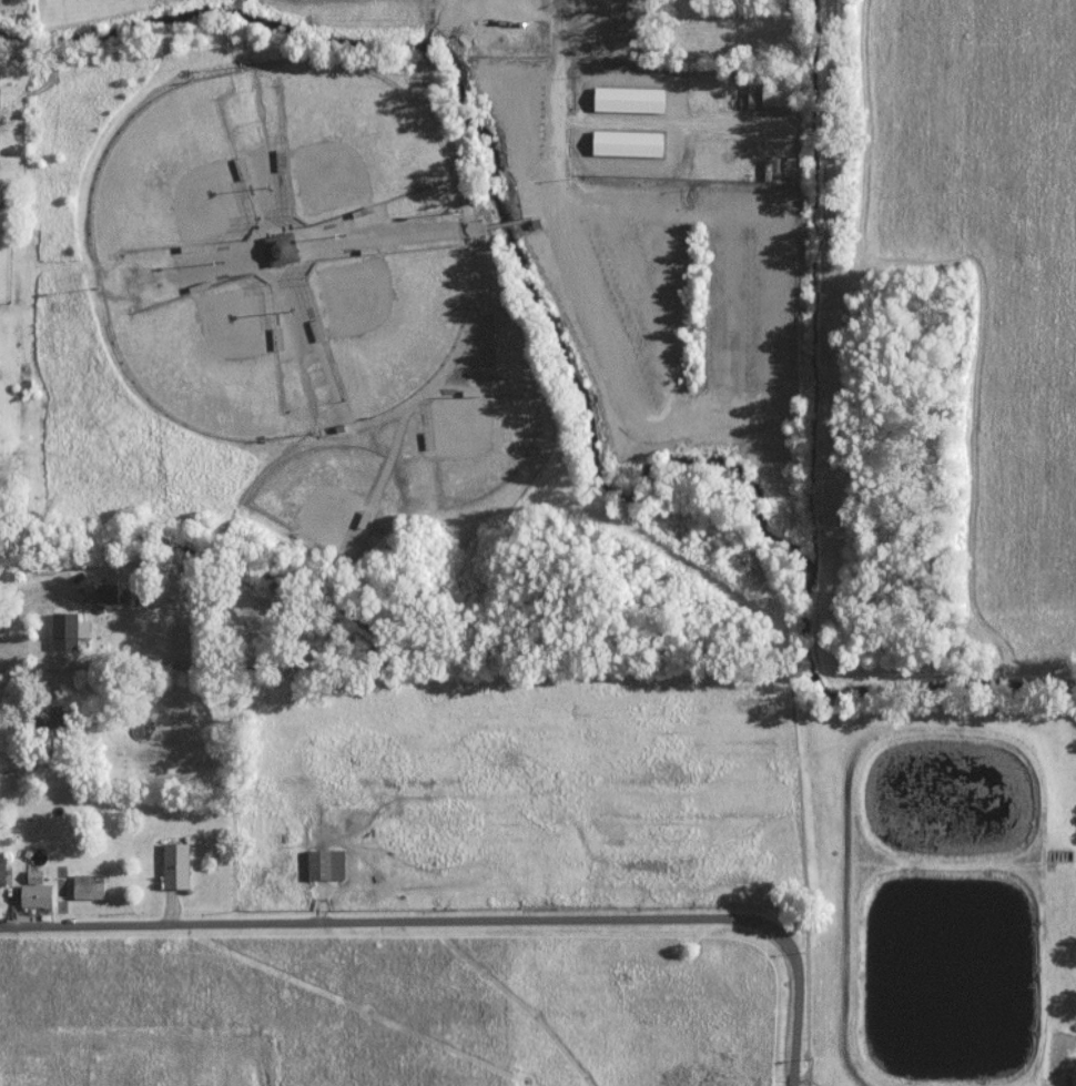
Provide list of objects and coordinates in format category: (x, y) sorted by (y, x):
building: (0, 75)
building: (778, 90)
road: (557, 91)
building: (629, 100)
park: (354, 141)
building: (627, 145)
park: (172, 177)
building: (280, 250)
parking lot: (660, 283)
park: (285, 311)
park: (392, 321)
park: (210, 359)
park: (480, 443)
park: (322, 494)
building: (109, 592)
road: (28, 595)
building: (70, 629)
road: (23, 760)
building: (177, 864)
building: (323, 864)
building: (3, 871)
building: (91, 889)
building: (38, 891)
road: (400, 927)
road: (798, 1007)
building: (1070, 1079)

